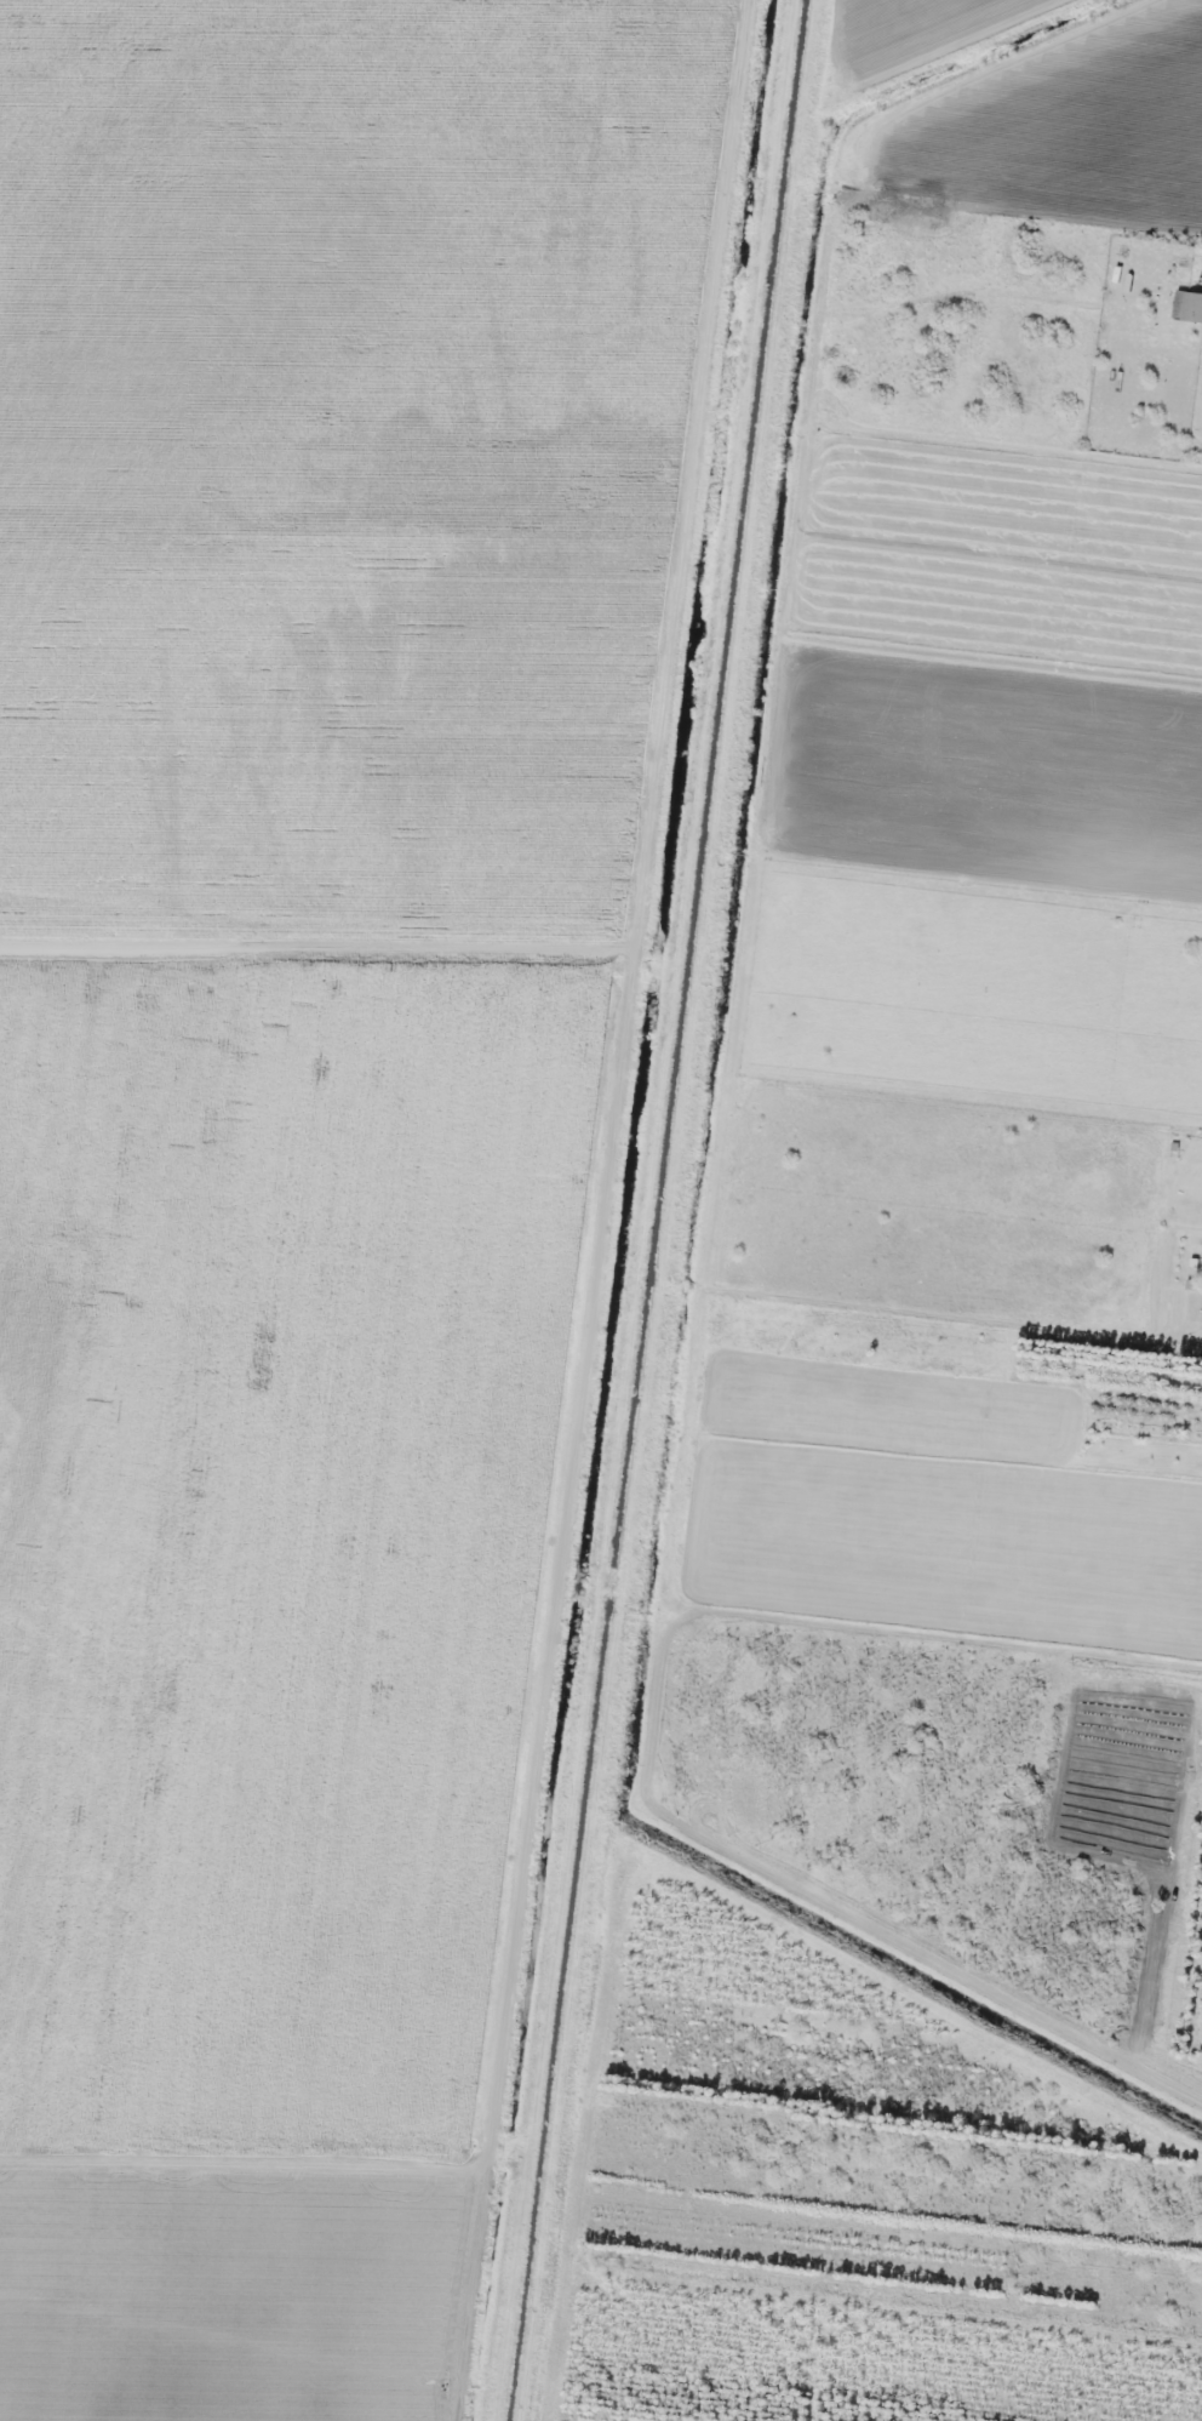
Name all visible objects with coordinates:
building: (1187, 306)

